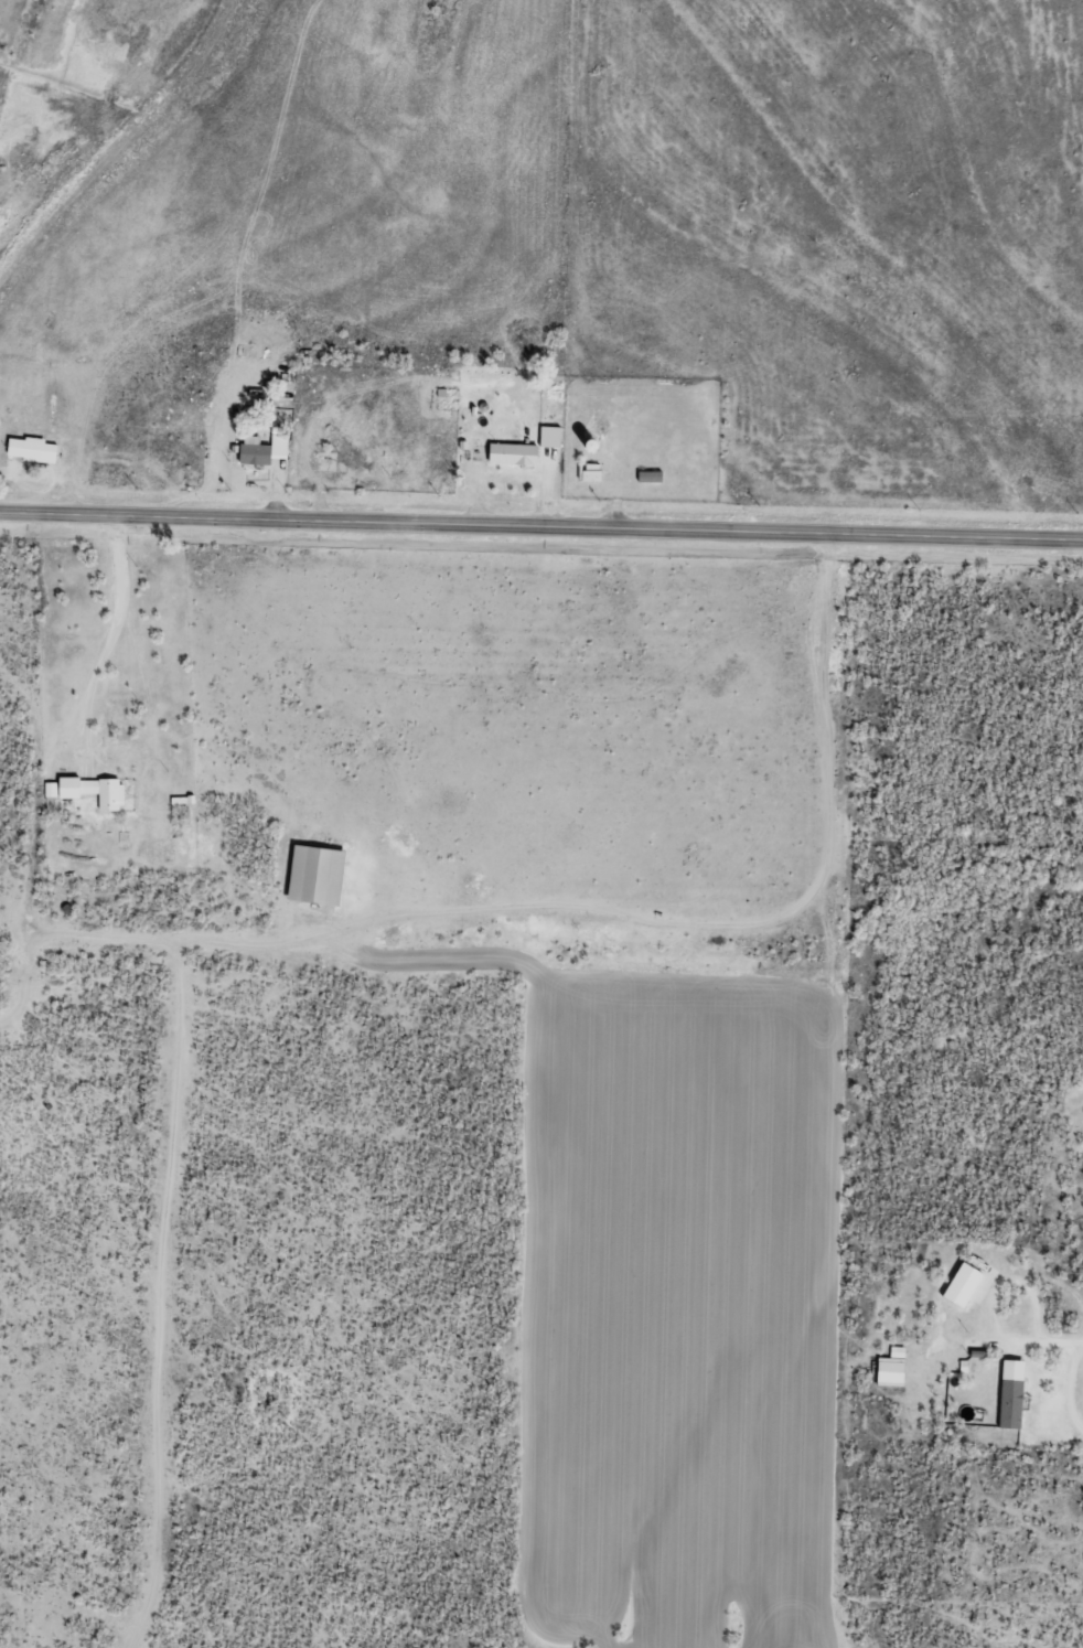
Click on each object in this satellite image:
building: (33, 449)
building: (267, 449)
road: (541, 524)
building: (51, 789)
building: (95, 790)
building: (319, 875)
road: (104, 995)
building: (965, 1284)
building: (893, 1367)
building: (1014, 1393)

